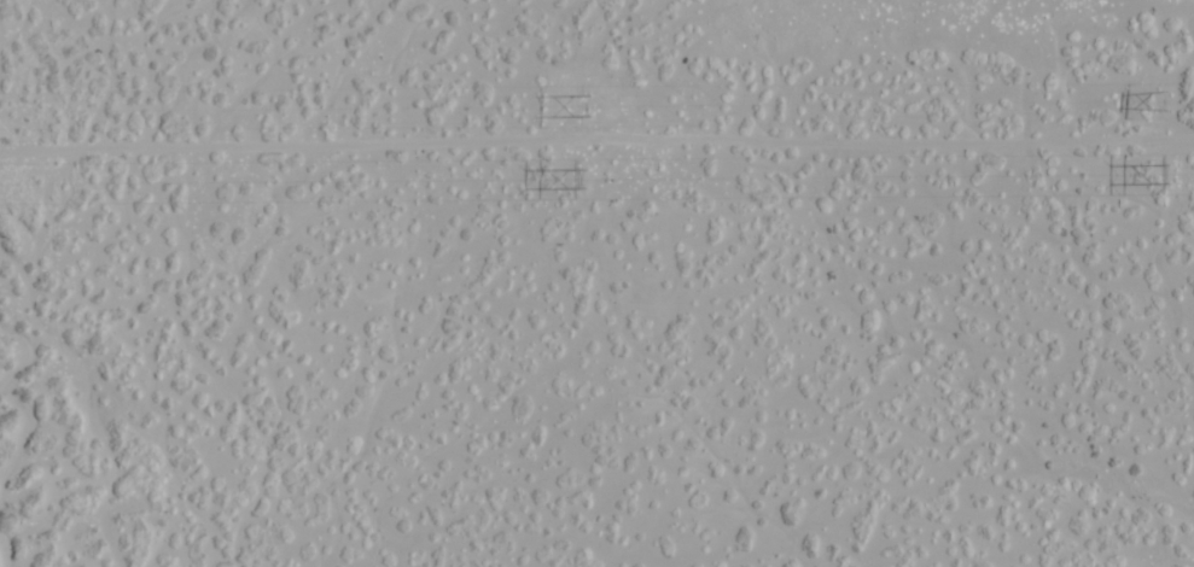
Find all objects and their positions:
road: (1181, 72)
road: (204, 80)
power tower: (1164, 97)
power tower: (581, 103)
power tower: (1164, 171)
power tower: (582, 174)

